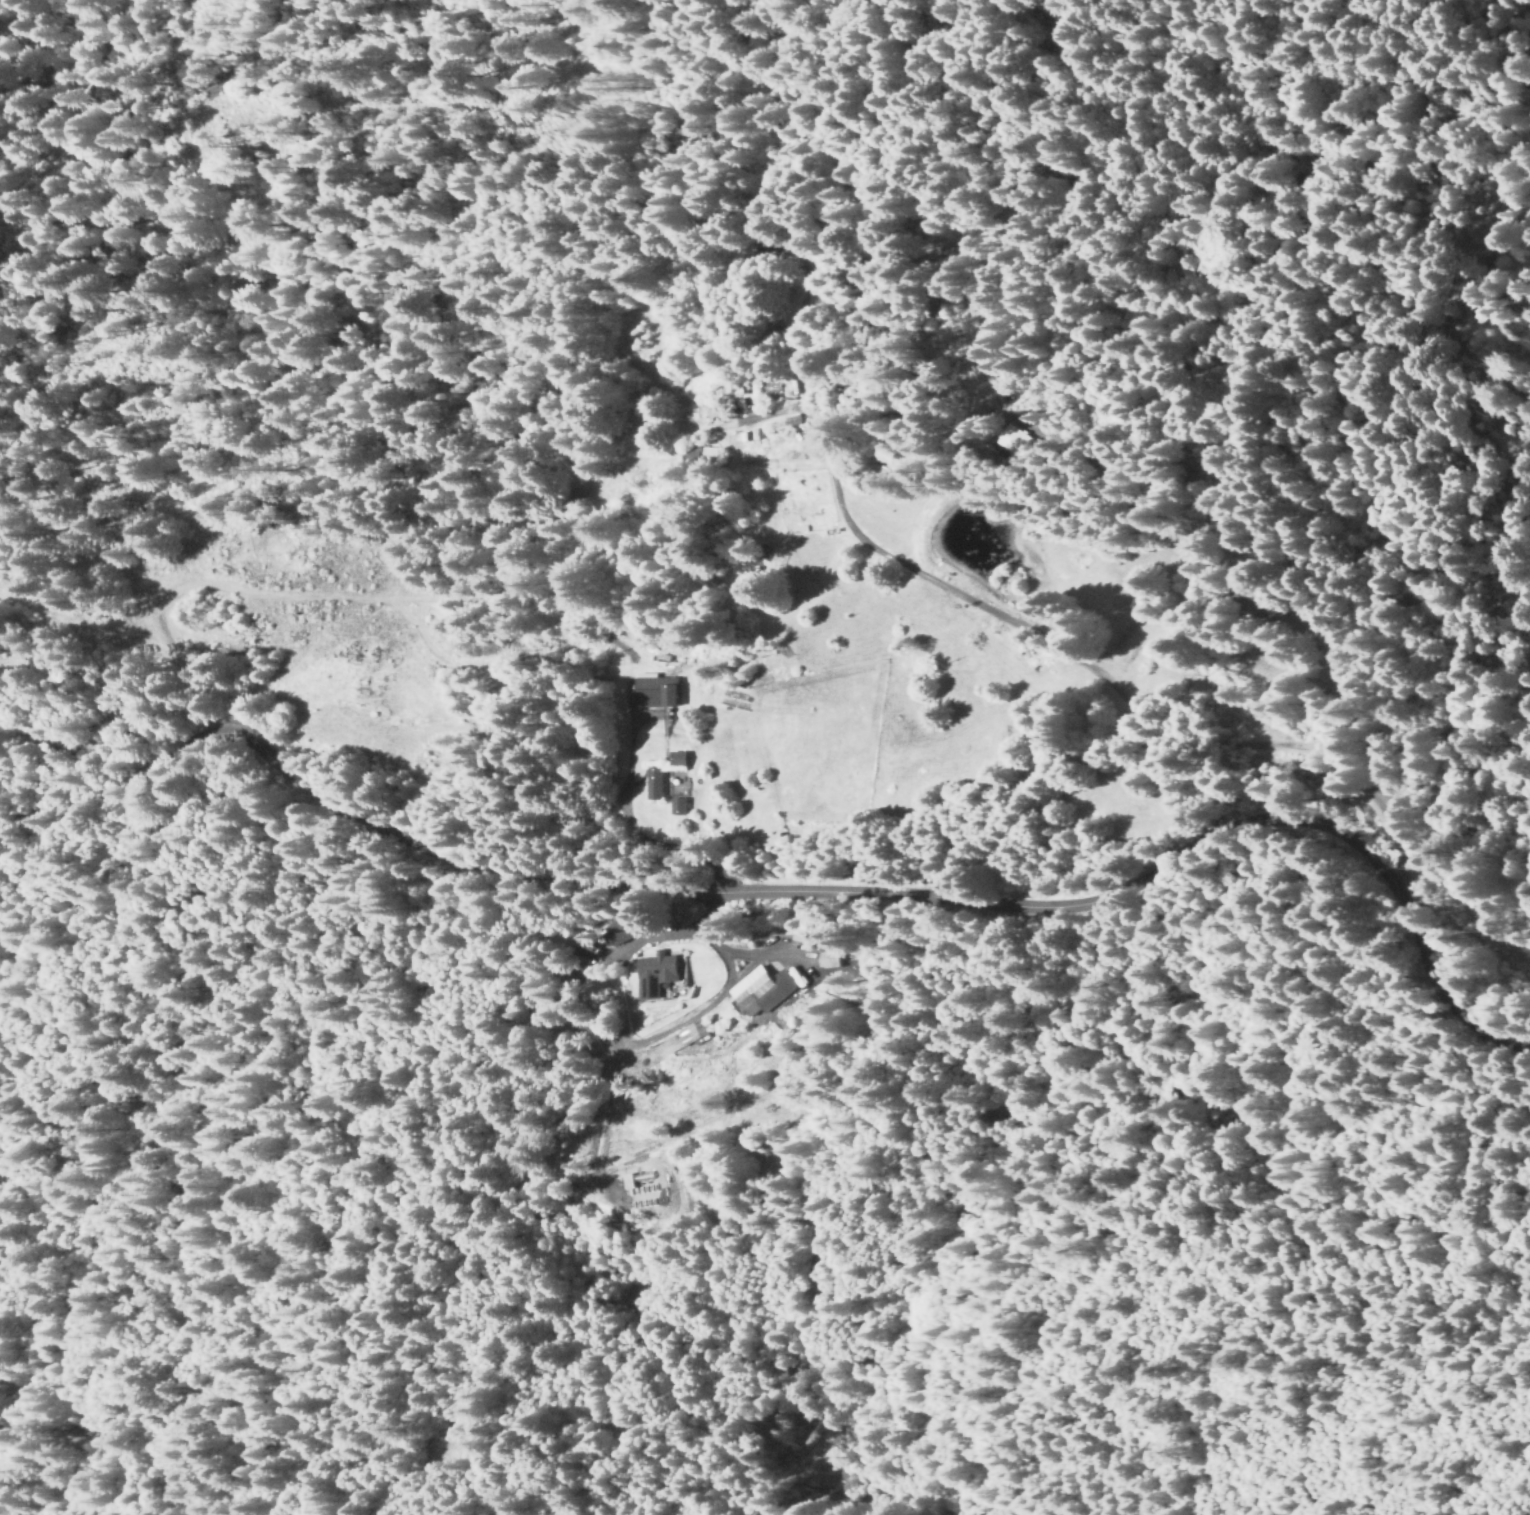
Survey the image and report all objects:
building: (1064, 19)
building: (748, 400)
building: (716, 413)
building: (790, 424)
building: (759, 437)
building: (698, 457)
building: (894, 473)
building: (806, 529)
building: (765, 552)
building: (654, 694)
building: (678, 760)
building: (654, 785)
building: (678, 808)
road: (794, 887)
building: (630, 929)
building: (829, 959)
building: (653, 964)
building: (761, 984)
building: (692, 1027)

